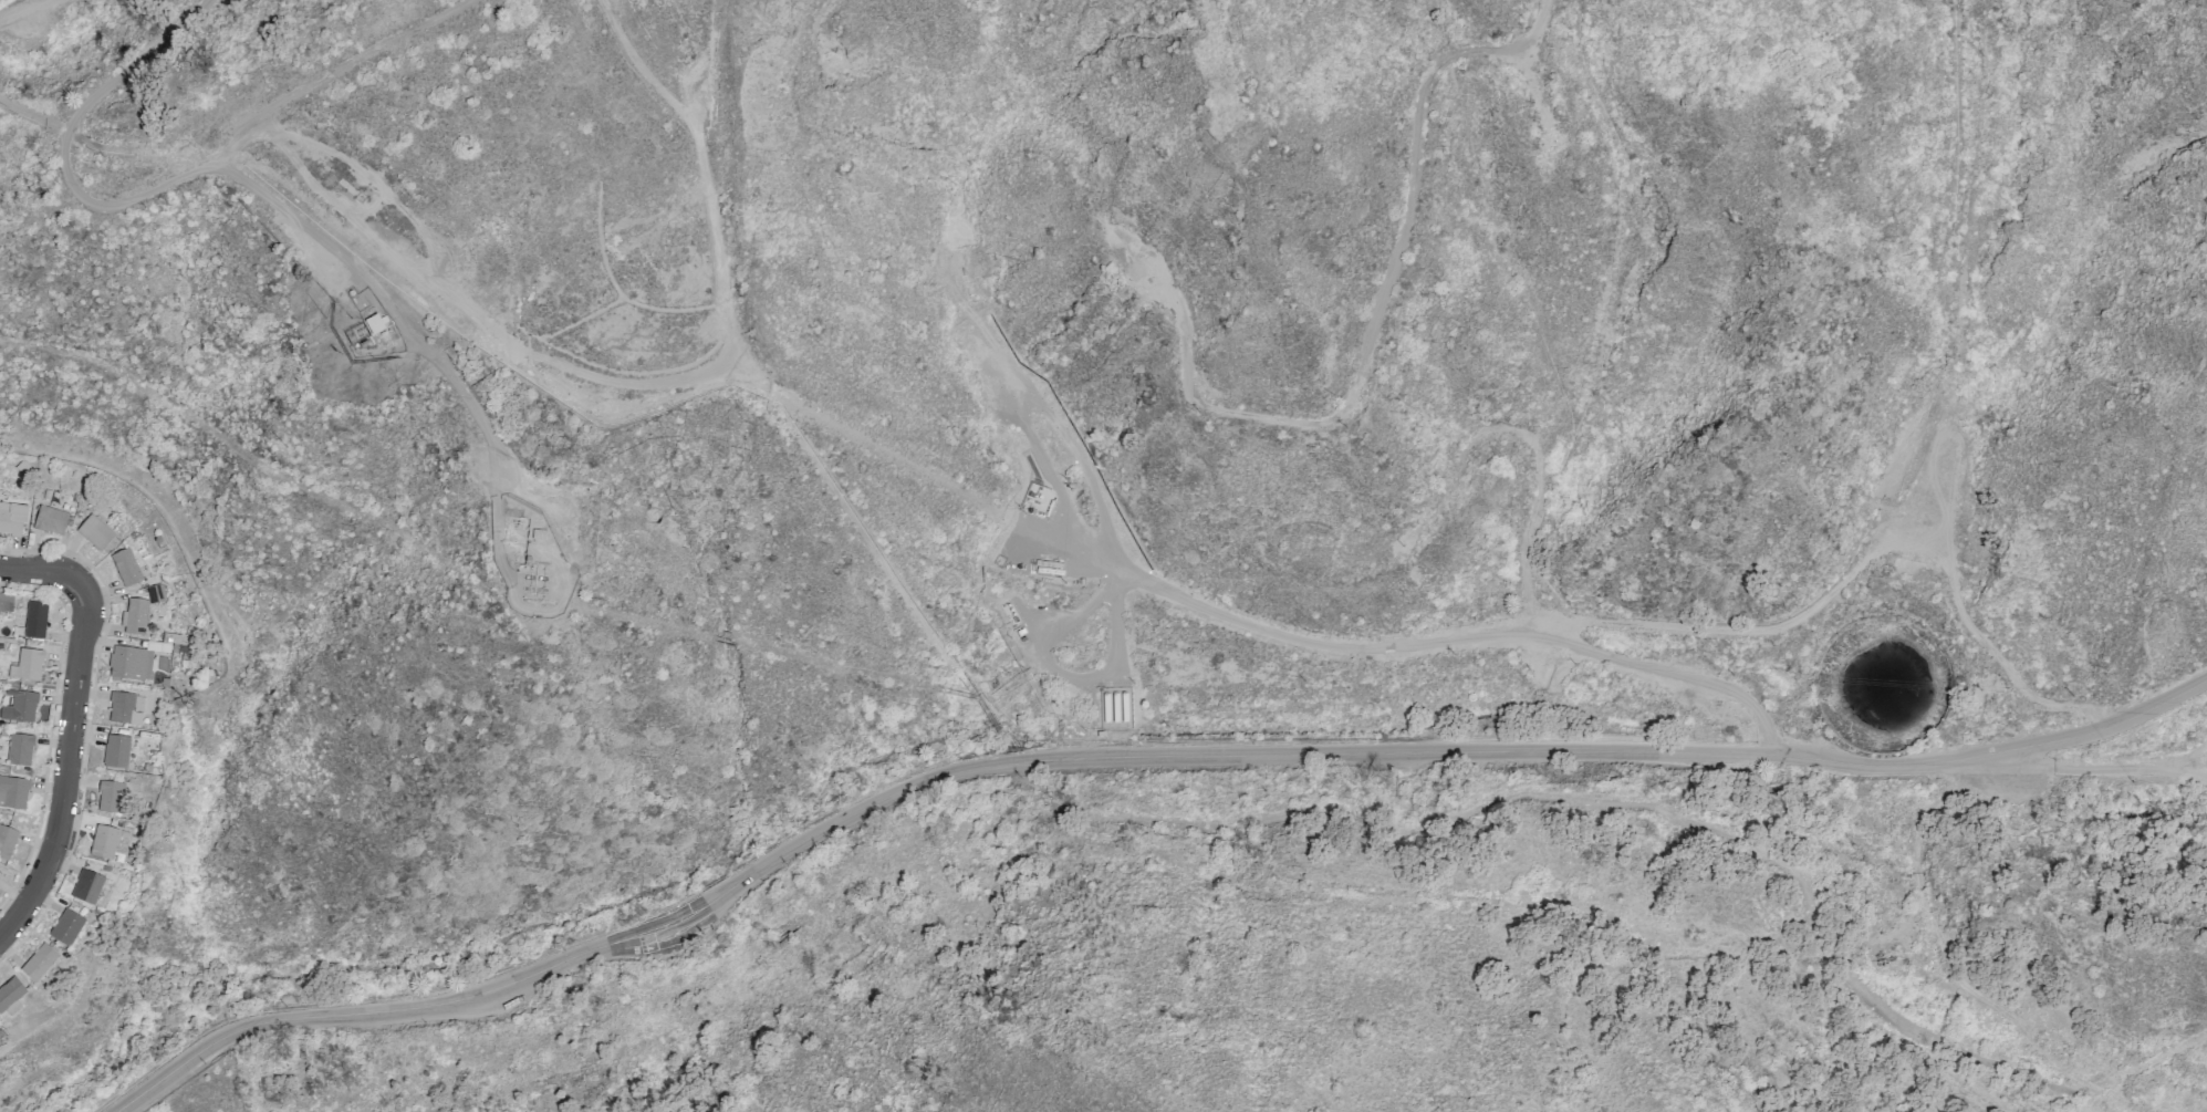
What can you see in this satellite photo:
building: (12, 518)
building: (50, 520)
building: (94, 532)
building: (125, 567)
road: (43, 569)
building: (155, 593)
building: (6, 602)
building: (134, 616)
building: (34, 619)
building: (164, 643)
road: (1316, 647)
building: (131, 663)
building: (27, 665)
building: (19, 706)
building: (124, 708)
building: (20, 749)
building: (115, 751)
road: (1129, 754)
road: (66, 767)
road: (2104, 769)
building: (13, 792)
building: (110, 797)
building: (7, 840)
building: (107, 842)
building: (86, 886)
building: (66, 927)
building: (39, 962)
building: (10, 995)

